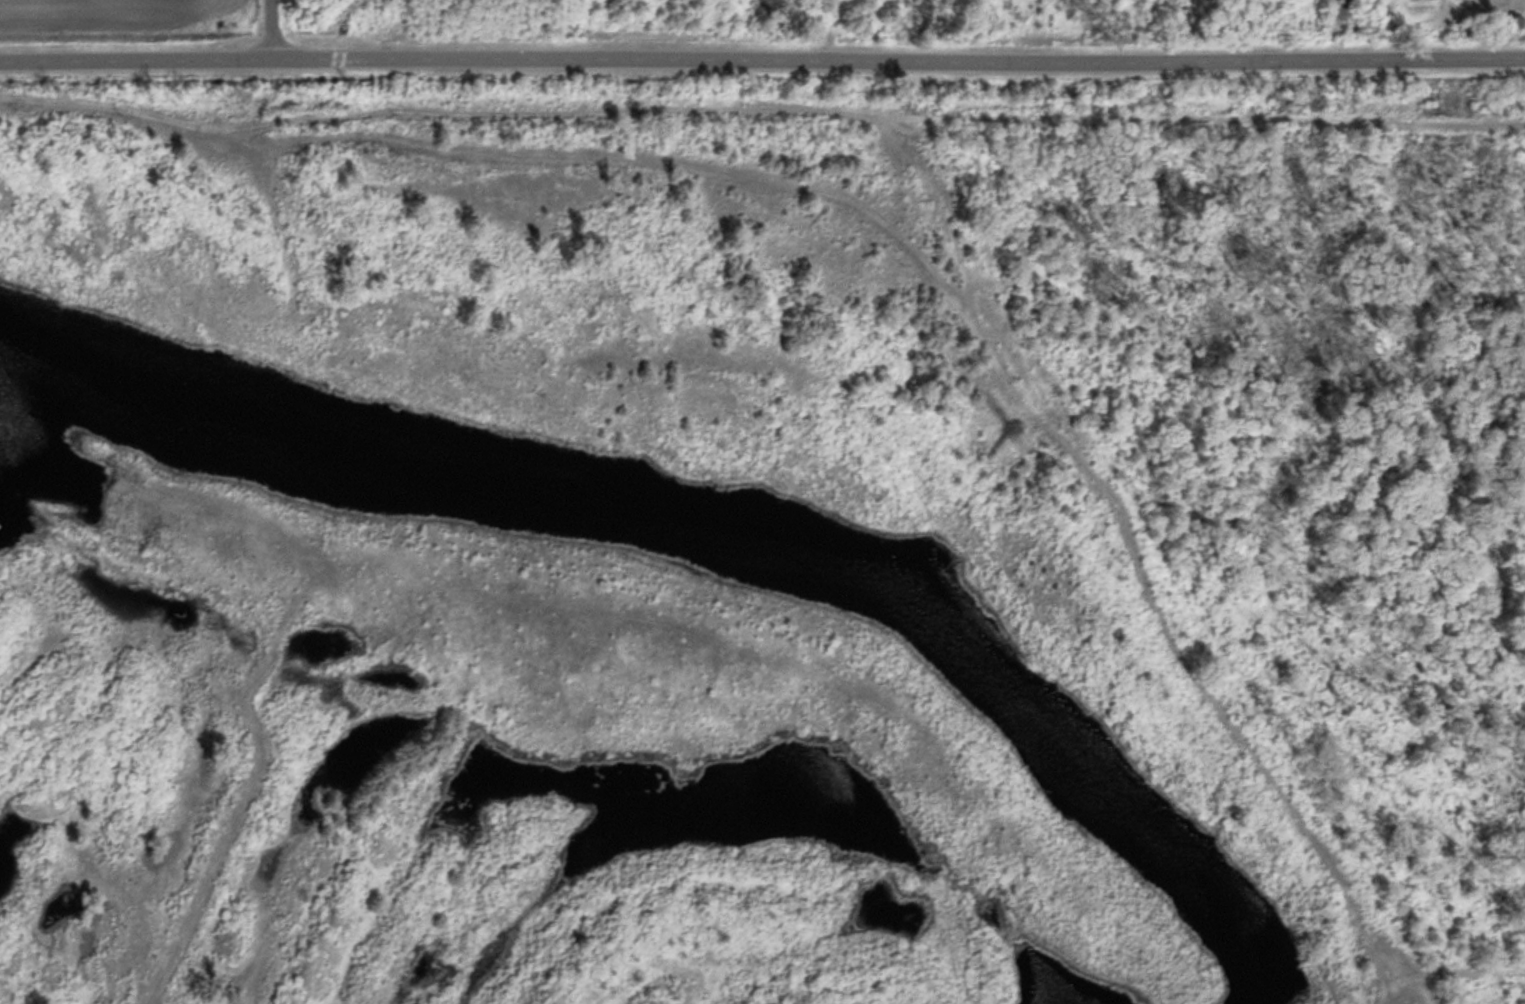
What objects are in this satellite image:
road: (263, 29)
road: (762, 58)
road: (905, 262)

